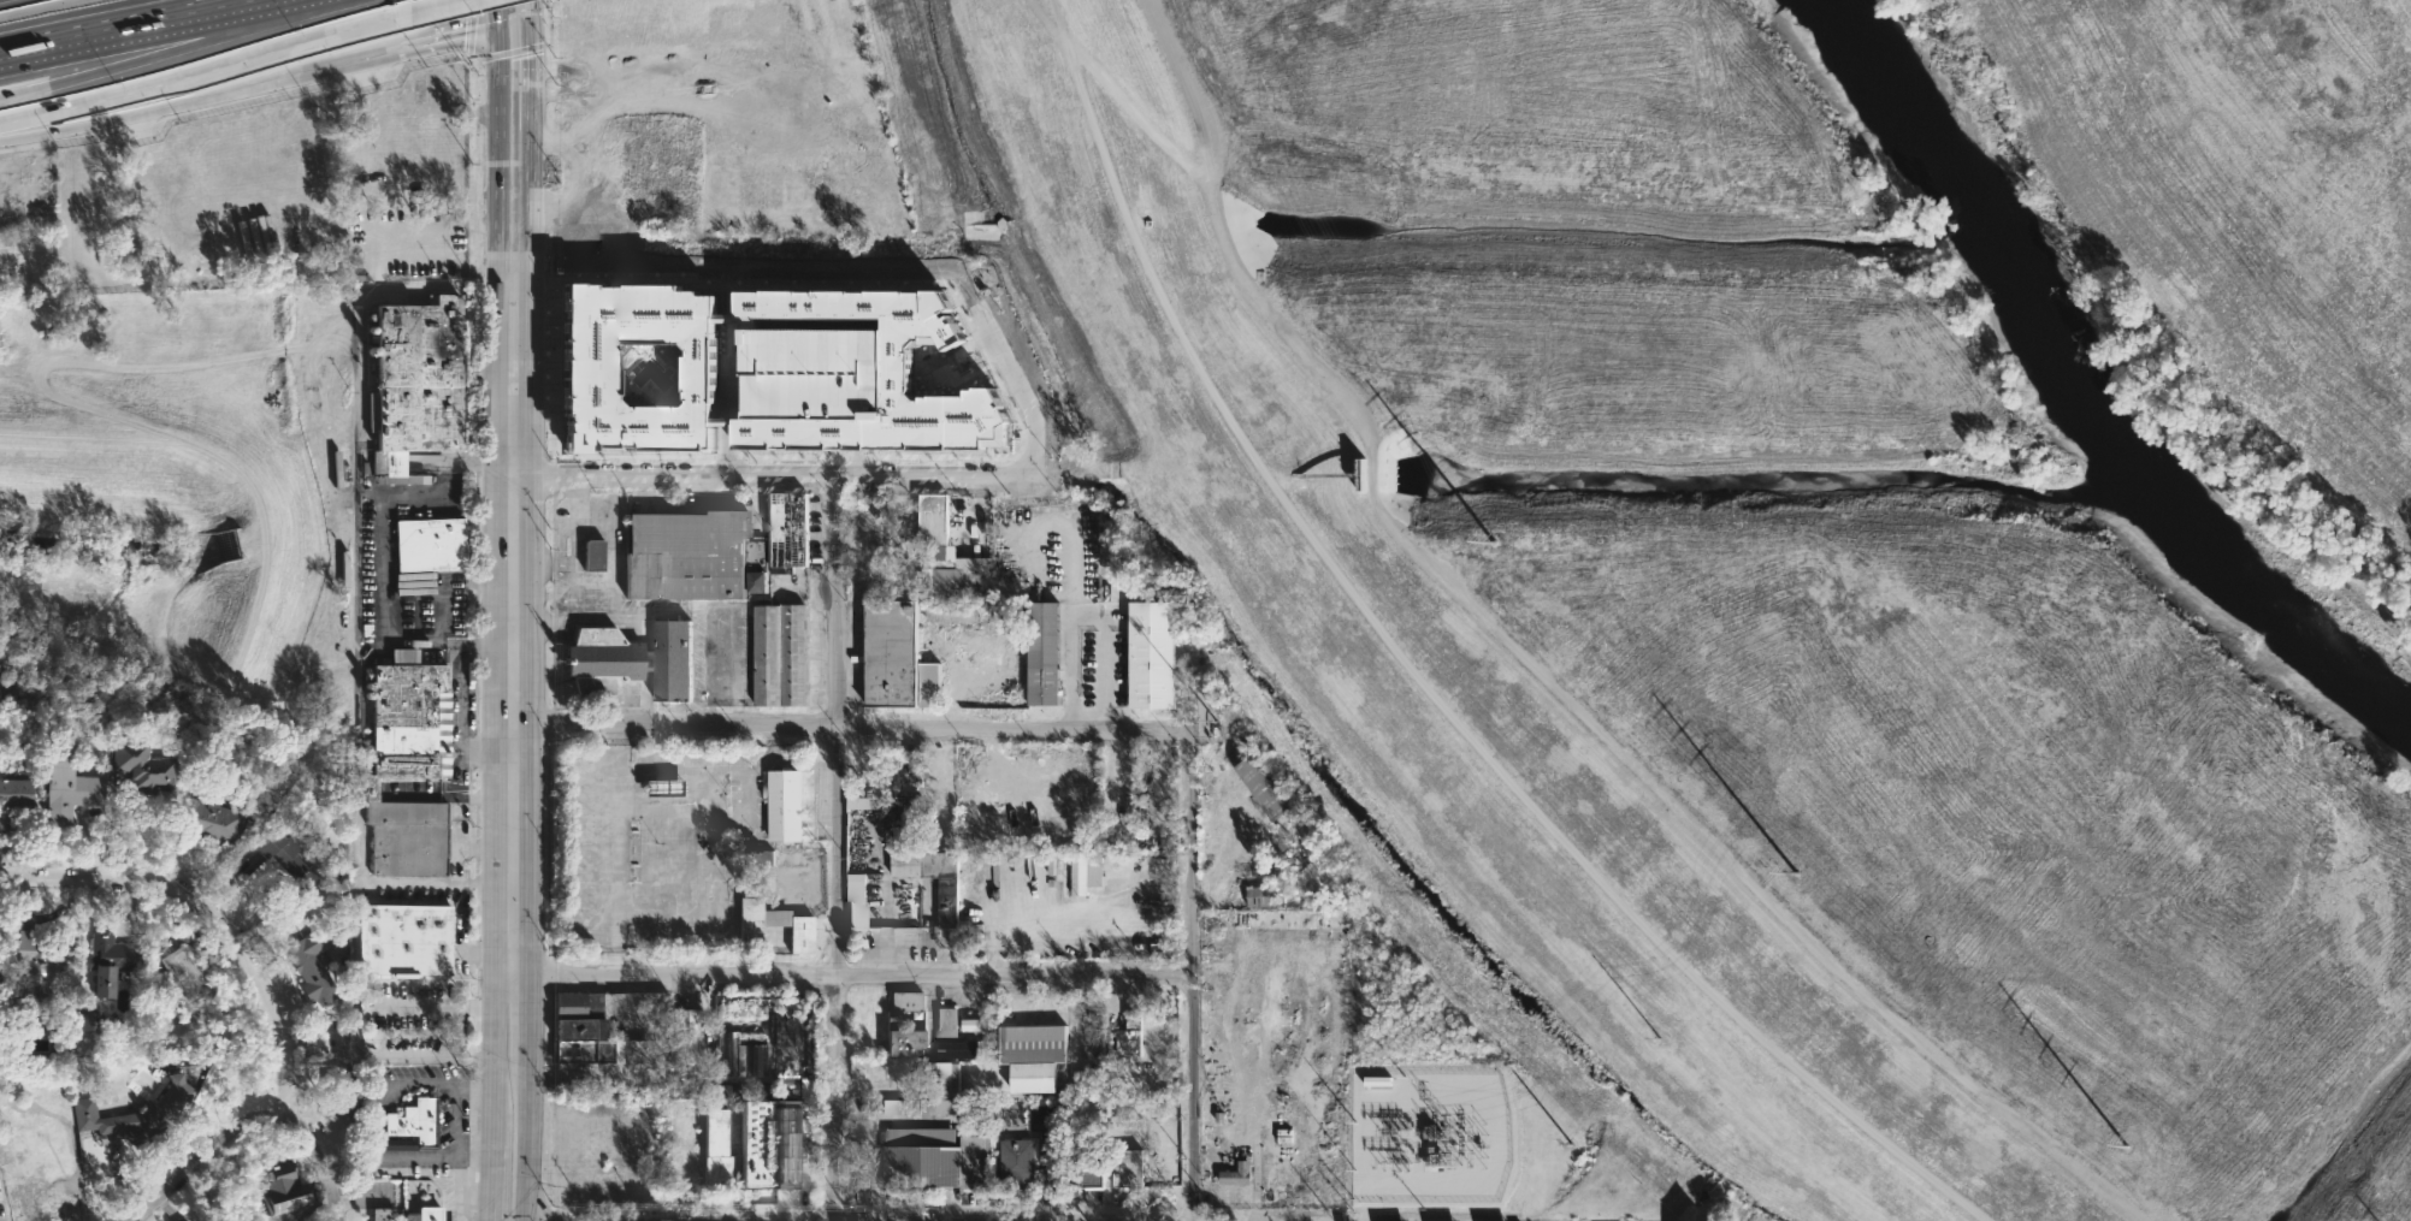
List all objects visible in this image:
road: (430, 6)
road: (497, 12)
road: (447, 18)
traffic signals: (531, 23)
road: (514, 24)
road: (122, 25)
traffic signals: (497, 25)
road: (123, 47)
road: (202, 73)
road: (249, 87)
road: (23, 90)
road: (1122, 91)
road: (528, 94)
road: (495, 107)
road: (370, 292)
building: (638, 368)
river: (2092, 369)
building: (856, 375)
building: (420, 384)
road: (1018, 399)
road: (478, 458)
road: (769, 478)
park: (182, 503)
park: (1833, 531)
building: (788, 532)
building: (433, 544)
power tower: (1494, 544)
road: (1060, 553)
building: (593, 555)
building: (686, 555)
building: (949, 555)
road: (513, 582)
building: (758, 582)
building: (1046, 653)
building: (780, 654)
building: (1154, 654)
building: (898, 658)
building: (633, 659)
road: (140, 669)
road: (1065, 669)
road: (1543, 674)
road: (1094, 680)
road: (1424, 681)
road: (459, 703)
road: (853, 731)
building: (408, 765)
building: (146, 766)
building: (666, 788)
building: (1266, 788)
building: (71, 796)
road: (474, 796)
building: (14, 798)
building: (882, 802)
building: (786, 806)
building: (212, 820)
road: (484, 848)
road: (844, 849)
building: (1118, 861)
building: (280, 865)
building: (754, 870)
building: (1087, 873)
power tower: (1795, 873)
road: (457, 881)
building: (1263, 896)
building: (857, 901)
building: (950, 901)
road: (212, 915)
building: (757, 925)
road: (1193, 938)
building: (404, 940)
building: (41, 959)
building: (110, 962)
building: (313, 965)
building: (177, 971)
road: (852, 977)
road: (430, 1004)
building: (905, 1004)
building: (739, 1007)
road: (527, 1009)
building: (90, 1020)
building: (947, 1023)
building: (975, 1025)
building: (584, 1031)
building: (1131, 1036)
power tower: (1655, 1039)
building: (686, 1043)
building: (906, 1043)
building: (739, 1054)
building: (1036, 1056)
building: (764, 1059)
road: (491, 1060)
building: (1093, 1083)
building: (342, 1093)
building: (938, 1095)
building: (136, 1115)
building: (415, 1127)
building: (717, 1131)
road: (525, 1133)
building: (770, 1146)
power tower: (1567, 1146)
power substation: (1422, 1149)
power tower: (2132, 1149)
building: (30, 1158)
building: (936, 1158)
road: (201, 1160)
road: (319, 1160)
building: (1097, 1163)
building: (1018, 1164)
building: (693, 1166)
building: (1129, 1169)
building: (861, 1174)
building: (1237, 1175)
road: (1255, 1181)
building: (283, 1185)
road: (485, 1185)
road: (538, 1209)
building: (383, 1214)
building: (424, 1214)
road: (552, 1214)

